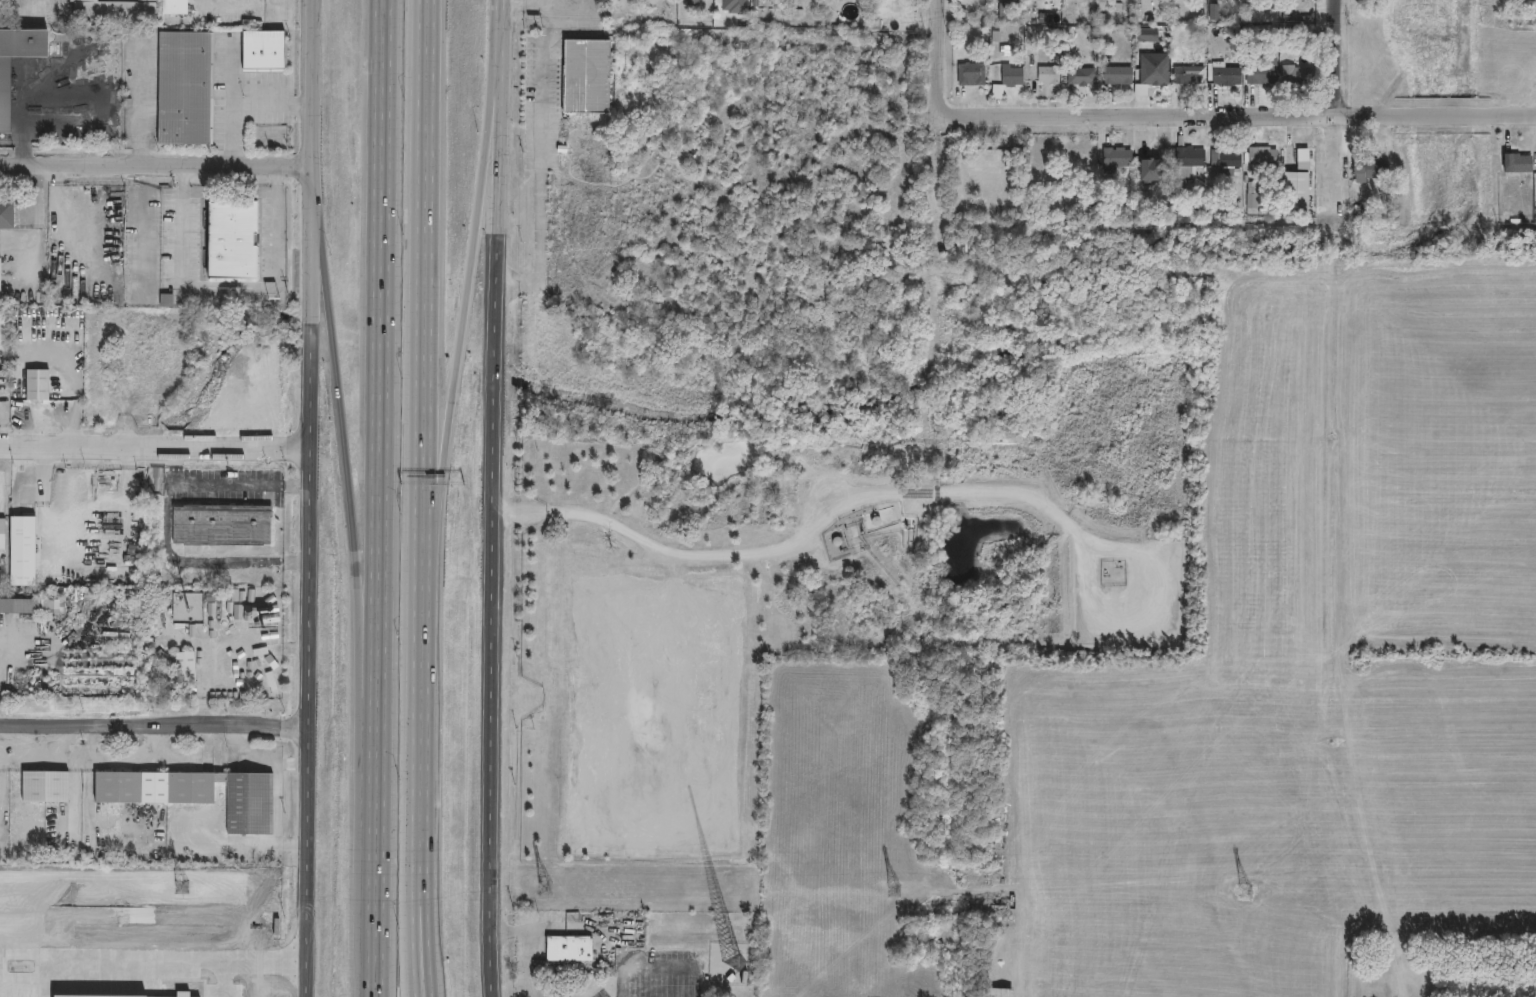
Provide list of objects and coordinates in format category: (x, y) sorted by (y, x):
building: (0, 1)
road: (550, 3)
building: (693, 3)
road: (526, 6)
building: (175, 7)
building: (112, 11)
building: (1013, 11)
building: (1216, 11)
building: (1255, 15)
building: (1044, 16)
road: (502, 28)
building: (262, 51)
road: (937, 60)
road: (1336, 60)
building: (1264, 70)
building: (974, 74)
building: (1051, 74)
building: (1229, 74)
building: (1299, 74)
building: (590, 75)
building: (1014, 75)
building: (1084, 76)
building: (1157, 76)
building: (1191, 76)
building: (1118, 77)
road: (231, 82)
road: (314, 83)
building: (183, 88)
building: (4, 93)
road: (138, 103)
road: (241, 104)
road: (1237, 120)
building: (1191, 154)
building: (1229, 158)
building: (1265, 158)
building: (1119, 159)
building: (1514, 162)
road: (544, 163)
road: (157, 166)
building: (1373, 170)
building: (1151, 174)
building: (1300, 191)
building: (1254, 193)
road: (314, 201)
building: (1259, 202)
building: (6, 215)
building: (229, 239)
building: (0, 278)
road: (231, 285)
road: (428, 306)
building: (1, 329)
road: (466, 335)
building: (35, 384)
road: (157, 447)
road: (175, 465)
road: (381, 498)
road: (354, 517)
road: (167, 521)
building: (221, 523)
road: (495, 526)
building: (3, 534)
road: (804, 543)
building: (24, 552)
building: (32, 607)
building: (769, 608)
road: (309, 616)
building: (187, 667)
road: (421, 673)
road: (156, 726)
road: (276, 785)
building: (47, 788)
building: (199, 795)
road: (241, 843)
road: (412, 865)
road: (425, 865)
power tower: (182, 885)
power tower: (545, 888)
power tower: (894, 890)
power tower: (1247, 892)
building: (573, 948)
road: (228, 967)
road: (289, 988)
building: (1004, 992)
road: (262, 994)

